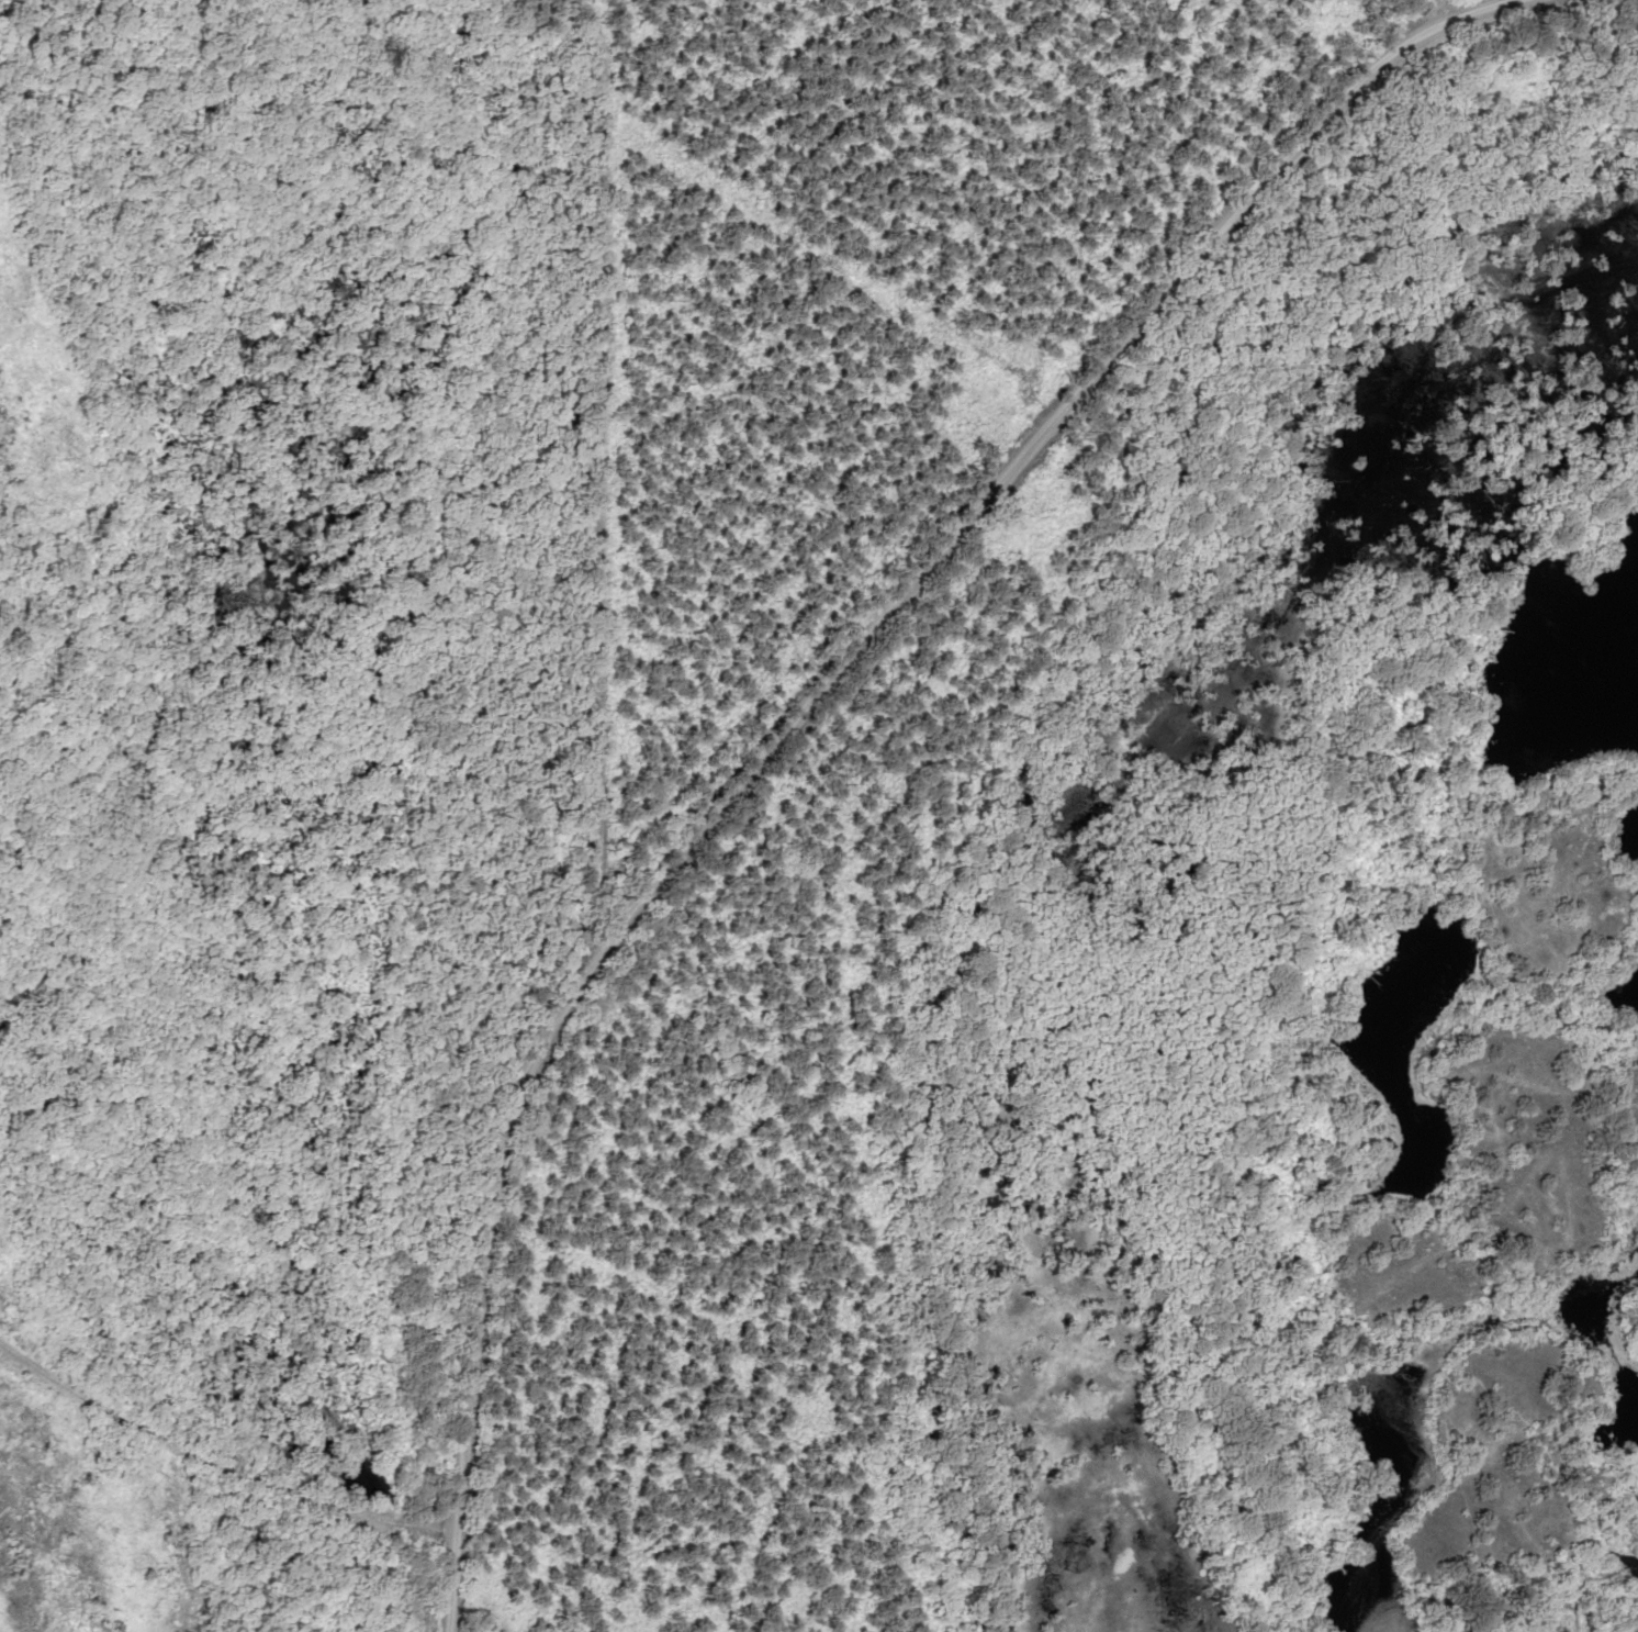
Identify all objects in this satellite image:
road: (1059, 373)
road: (478, 1226)
road: (216, 1379)

